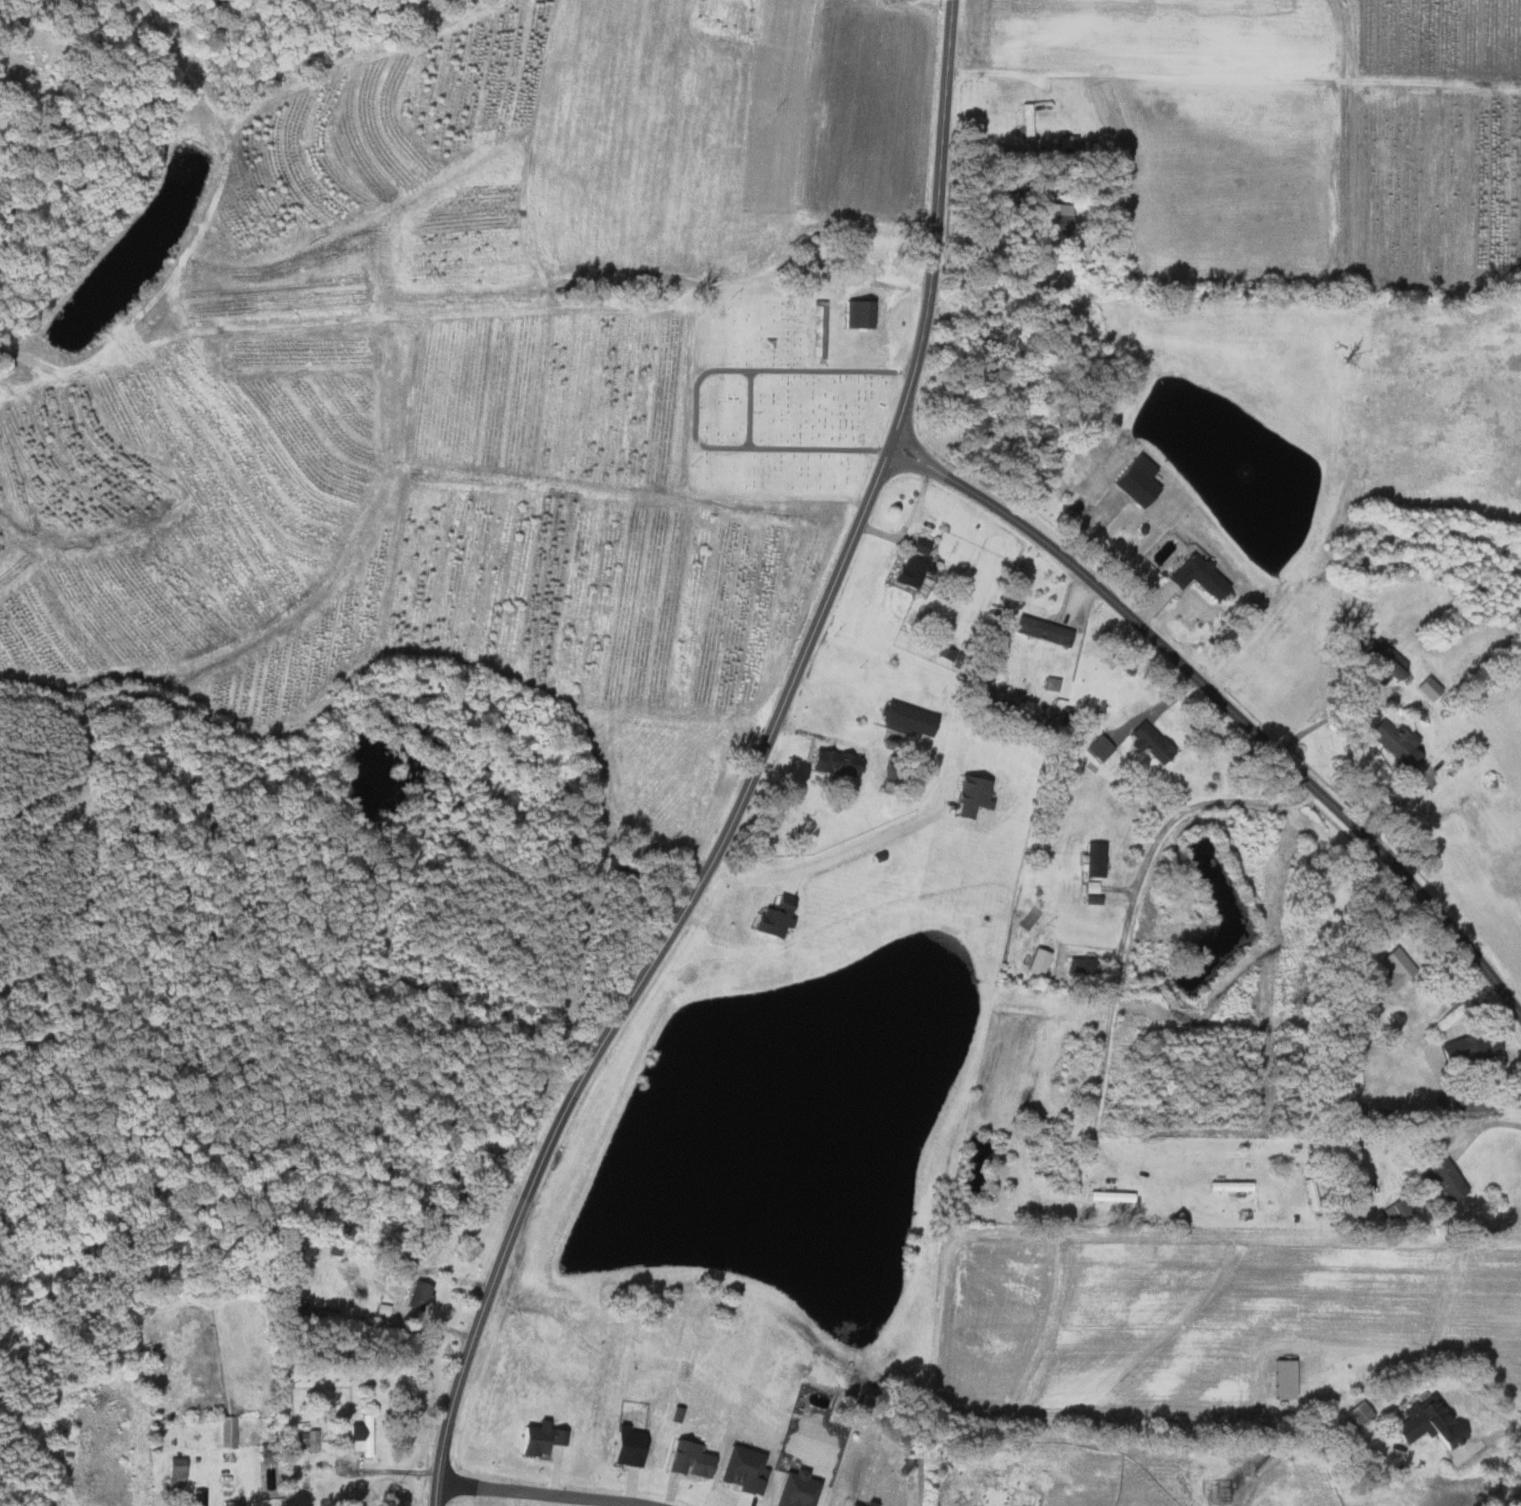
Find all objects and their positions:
road: (1233, 81)
building: (1050, 217)
building: (855, 314)
road: (886, 318)
building: (1135, 480)
building: (917, 546)
building: (910, 572)
building: (1196, 576)
building: (1040, 631)
building: (1381, 662)
building: (1425, 688)
road: (1229, 707)
building: (905, 719)
road: (1324, 719)
building: (1146, 743)
building: (1394, 744)
building: (831, 763)
road: (752, 772)
building: (968, 796)
building: (1092, 859)
road: (830, 861)
building: (770, 919)
road: (1117, 963)
building: (1078, 966)
building: (1394, 969)
building: (1477, 1049)
road: (1497, 1103)
road: (1483, 1126)
building: (1442, 1180)
building: (1110, 1196)
building: (1391, 1211)
road: (402, 1290)
building: (417, 1295)
building: (1280, 1378)
building: (1358, 1413)
road: (1491, 1413)
building: (1427, 1422)
building: (226, 1432)
building: (360, 1436)
building: (308, 1440)
road: (388, 1470)
road: (240, 1489)
road: (540, 1493)
building: (865, 1503)
building: (847, 1505)

